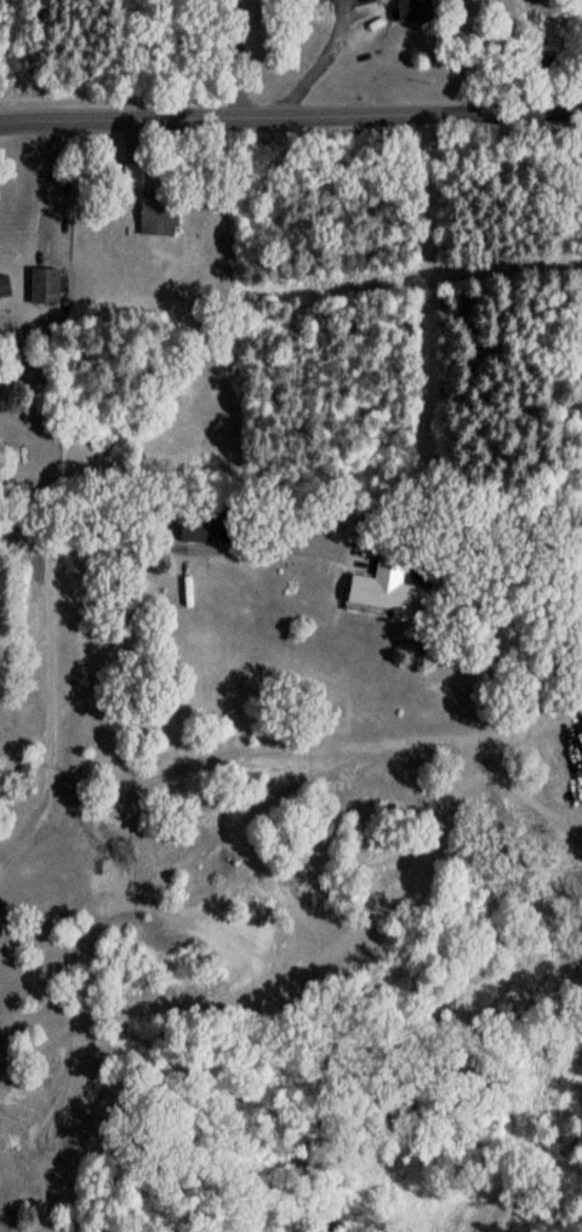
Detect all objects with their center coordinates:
building: (352, 0)
building: (411, 15)
road: (293, 40)
road: (318, 50)
road: (233, 59)
road: (273, 102)
road: (290, 118)
building: (130, 182)
road: (47, 187)
building: (154, 221)
building: (41, 291)
building: (2, 292)
building: (202, 531)
road: (155, 548)
road: (47, 712)
road: (287, 754)
road: (1, 861)

